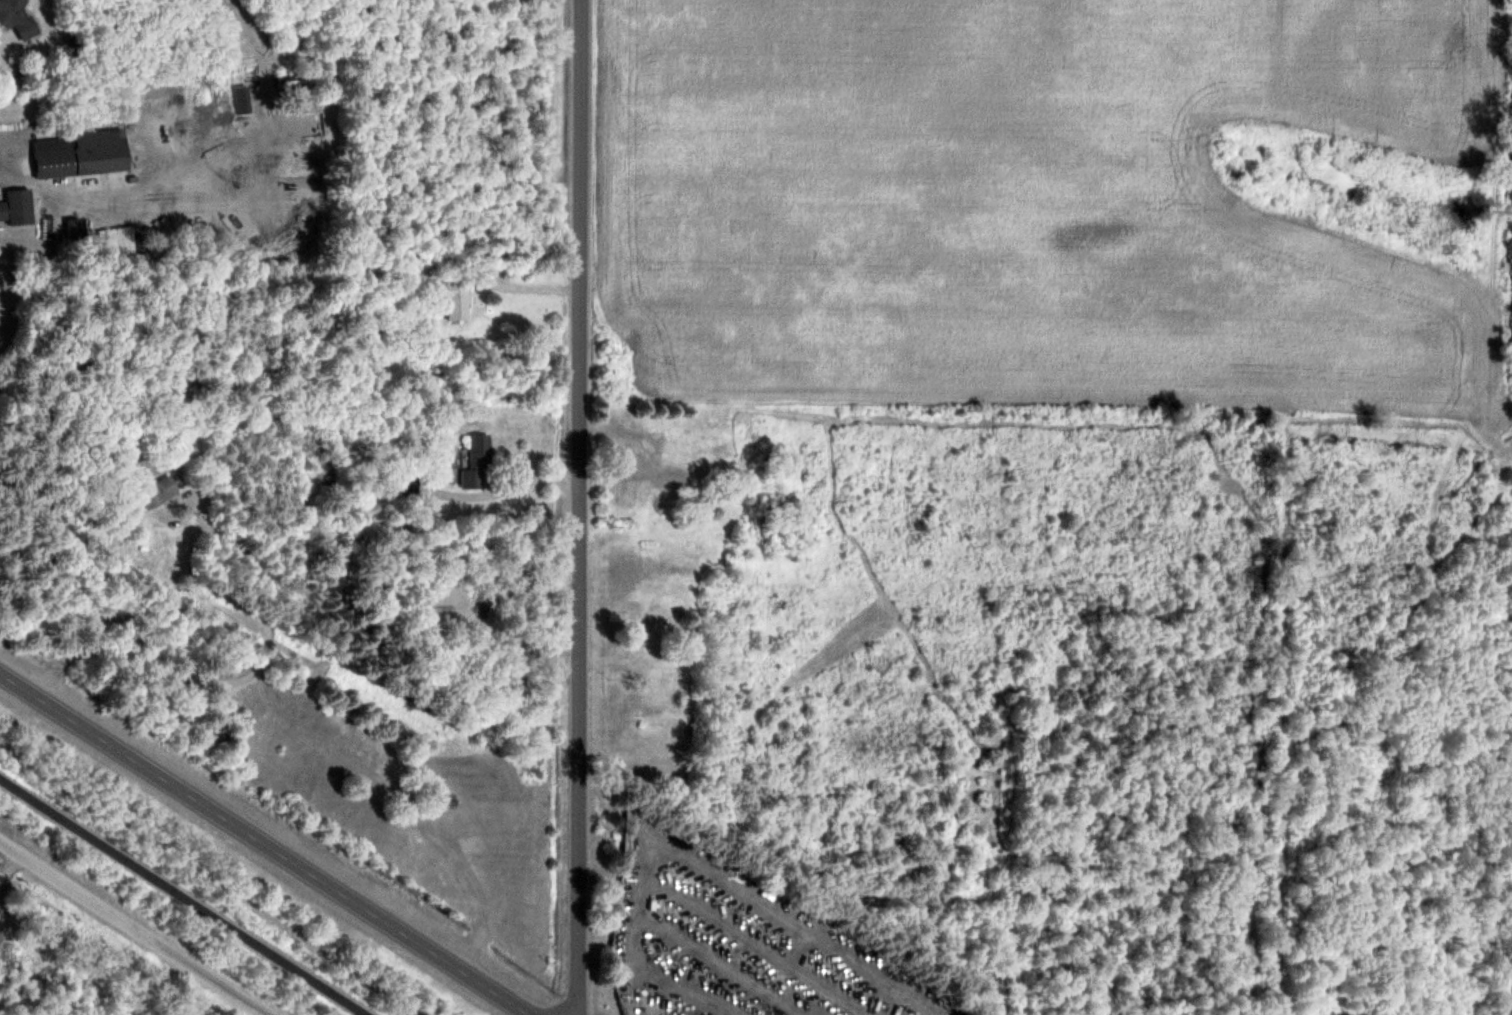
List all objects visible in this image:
building: (17, 17)
building: (78, 158)
building: (18, 207)
building: (451, 297)
building: (656, 441)
building: (479, 462)
building: (640, 468)
road: (528, 480)
building: (152, 495)
road: (585, 507)
road: (264, 843)
road: (183, 896)
road: (133, 928)

